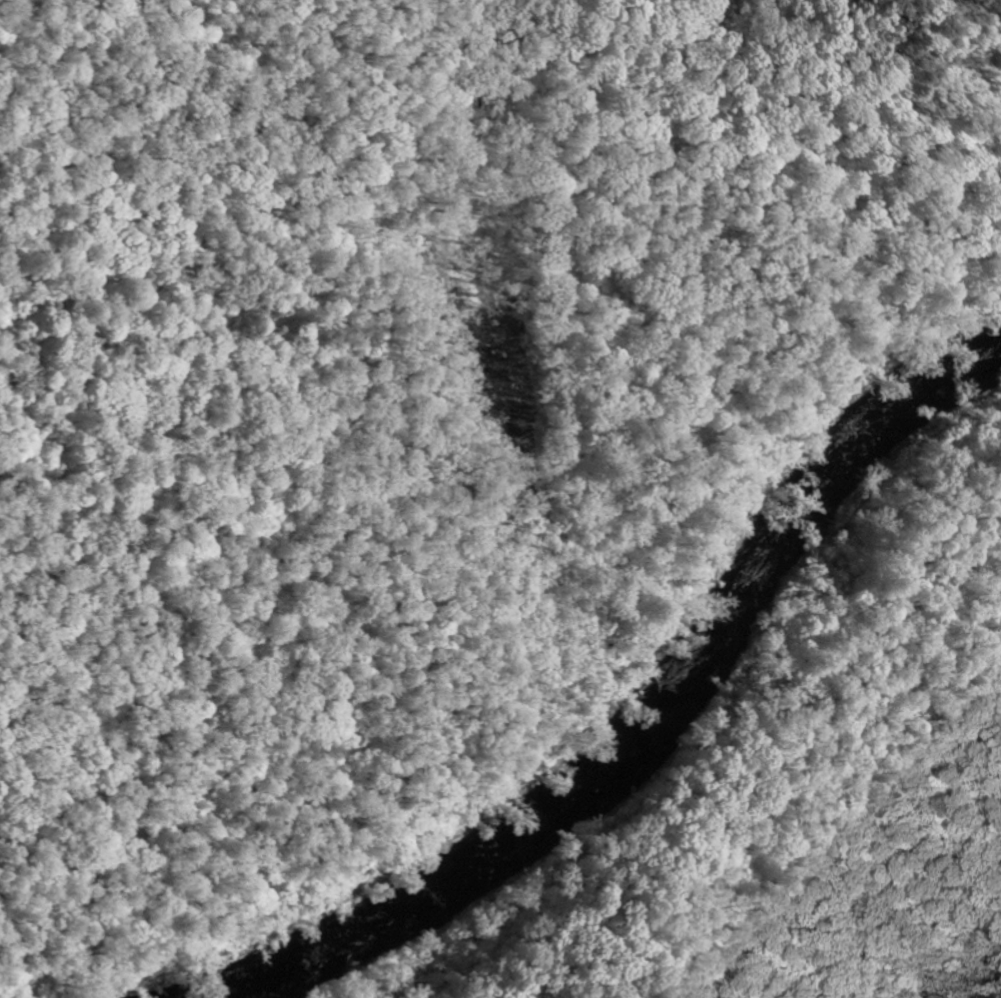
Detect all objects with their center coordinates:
river: (649, 737)

